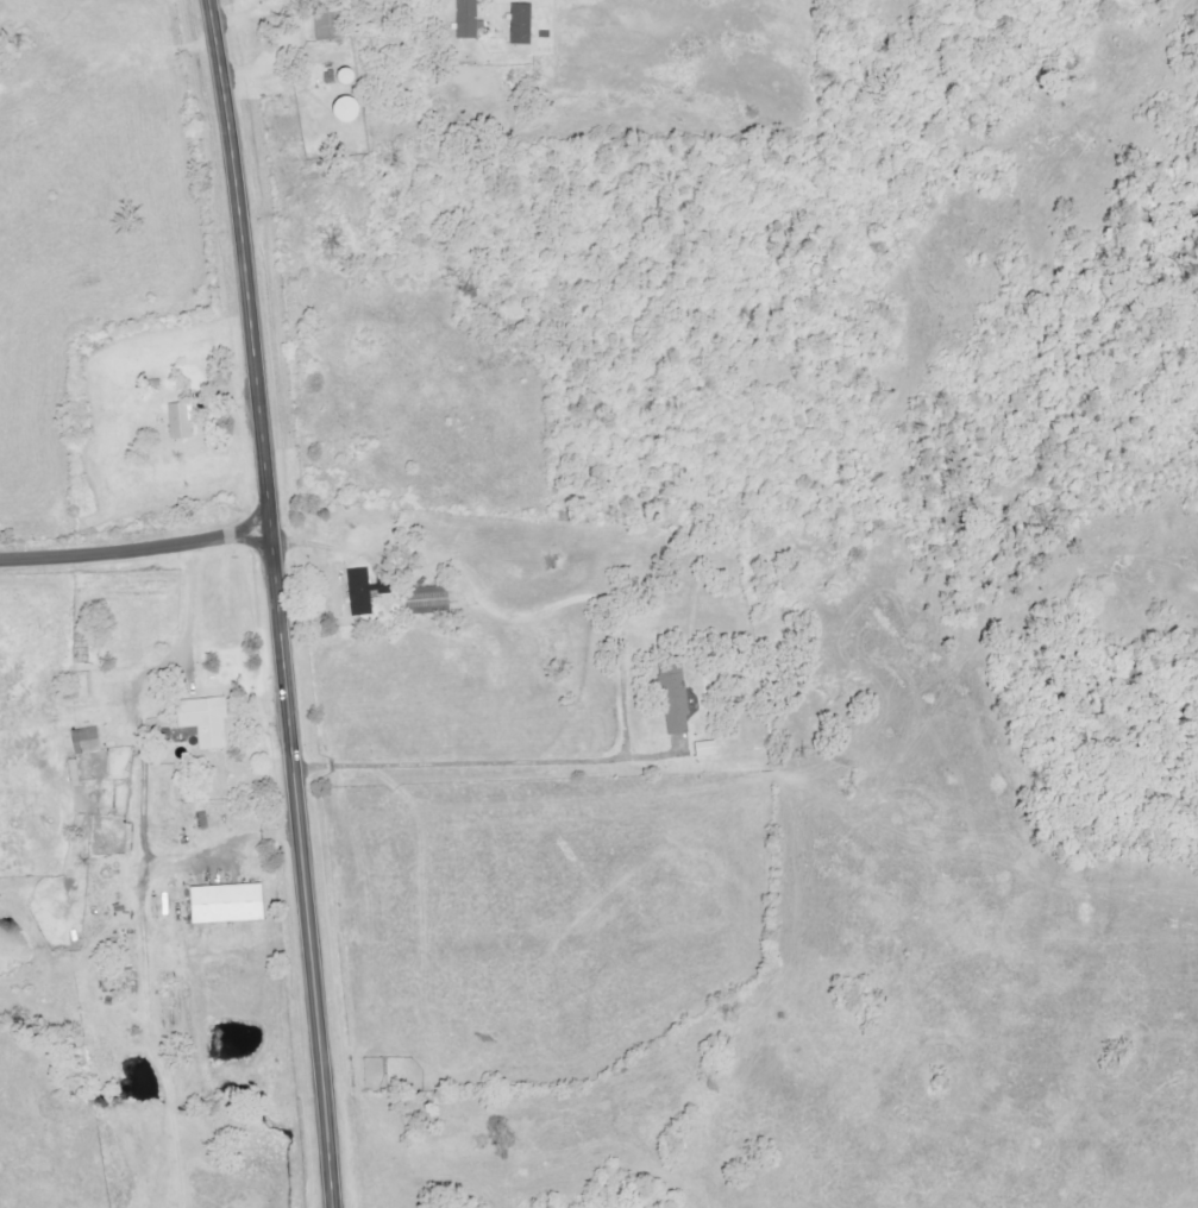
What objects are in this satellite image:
building: (471, 19)
building: (527, 24)
building: (183, 421)
road: (136, 546)
building: (369, 590)
building: (435, 598)
road: (278, 603)
building: (84, 687)
building: (678, 699)
building: (209, 721)
building: (711, 749)
building: (232, 905)

